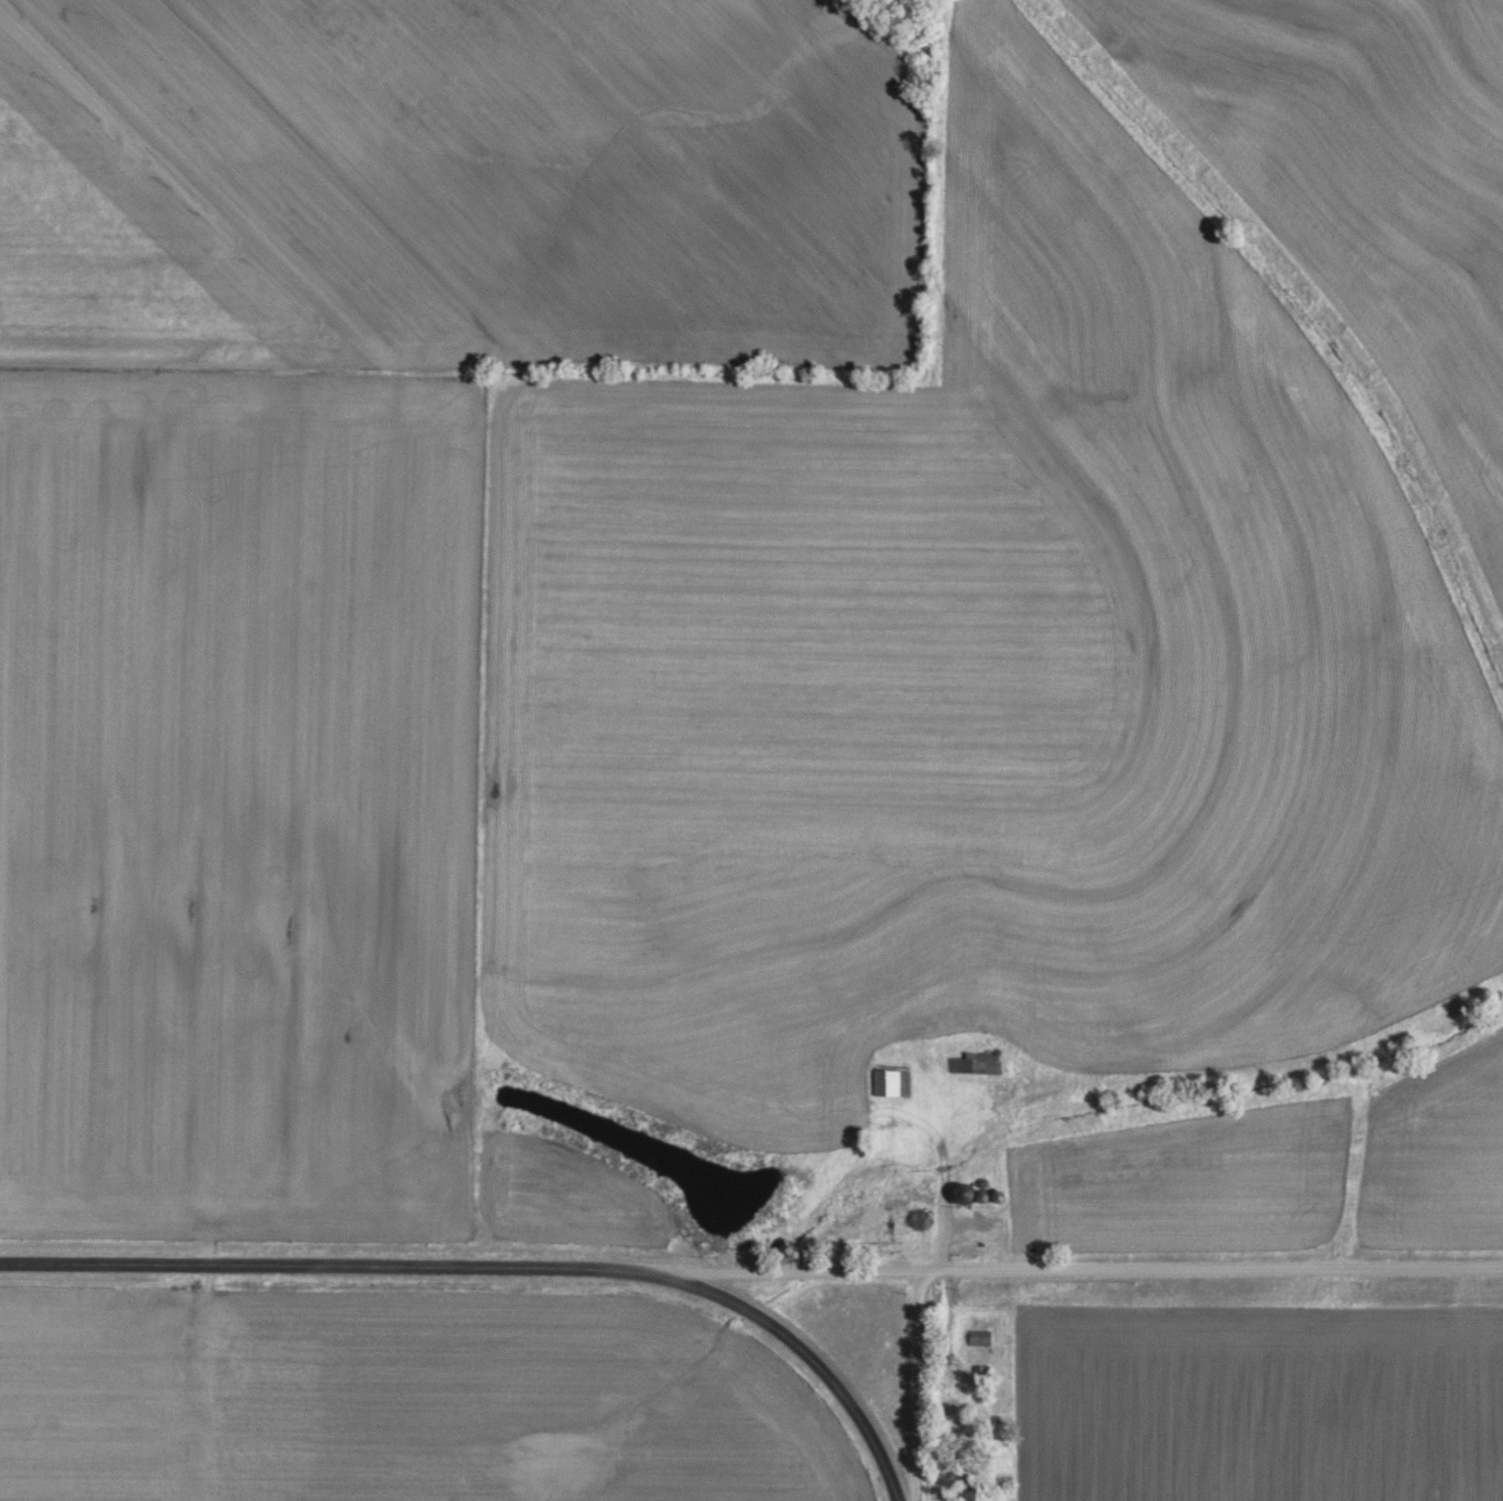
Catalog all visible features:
building: (974, 1064)
building: (892, 1083)
building: (966, 1193)
road: (502, 1266)
road: (1081, 1270)
building: (979, 1338)
road: (920, 1386)

